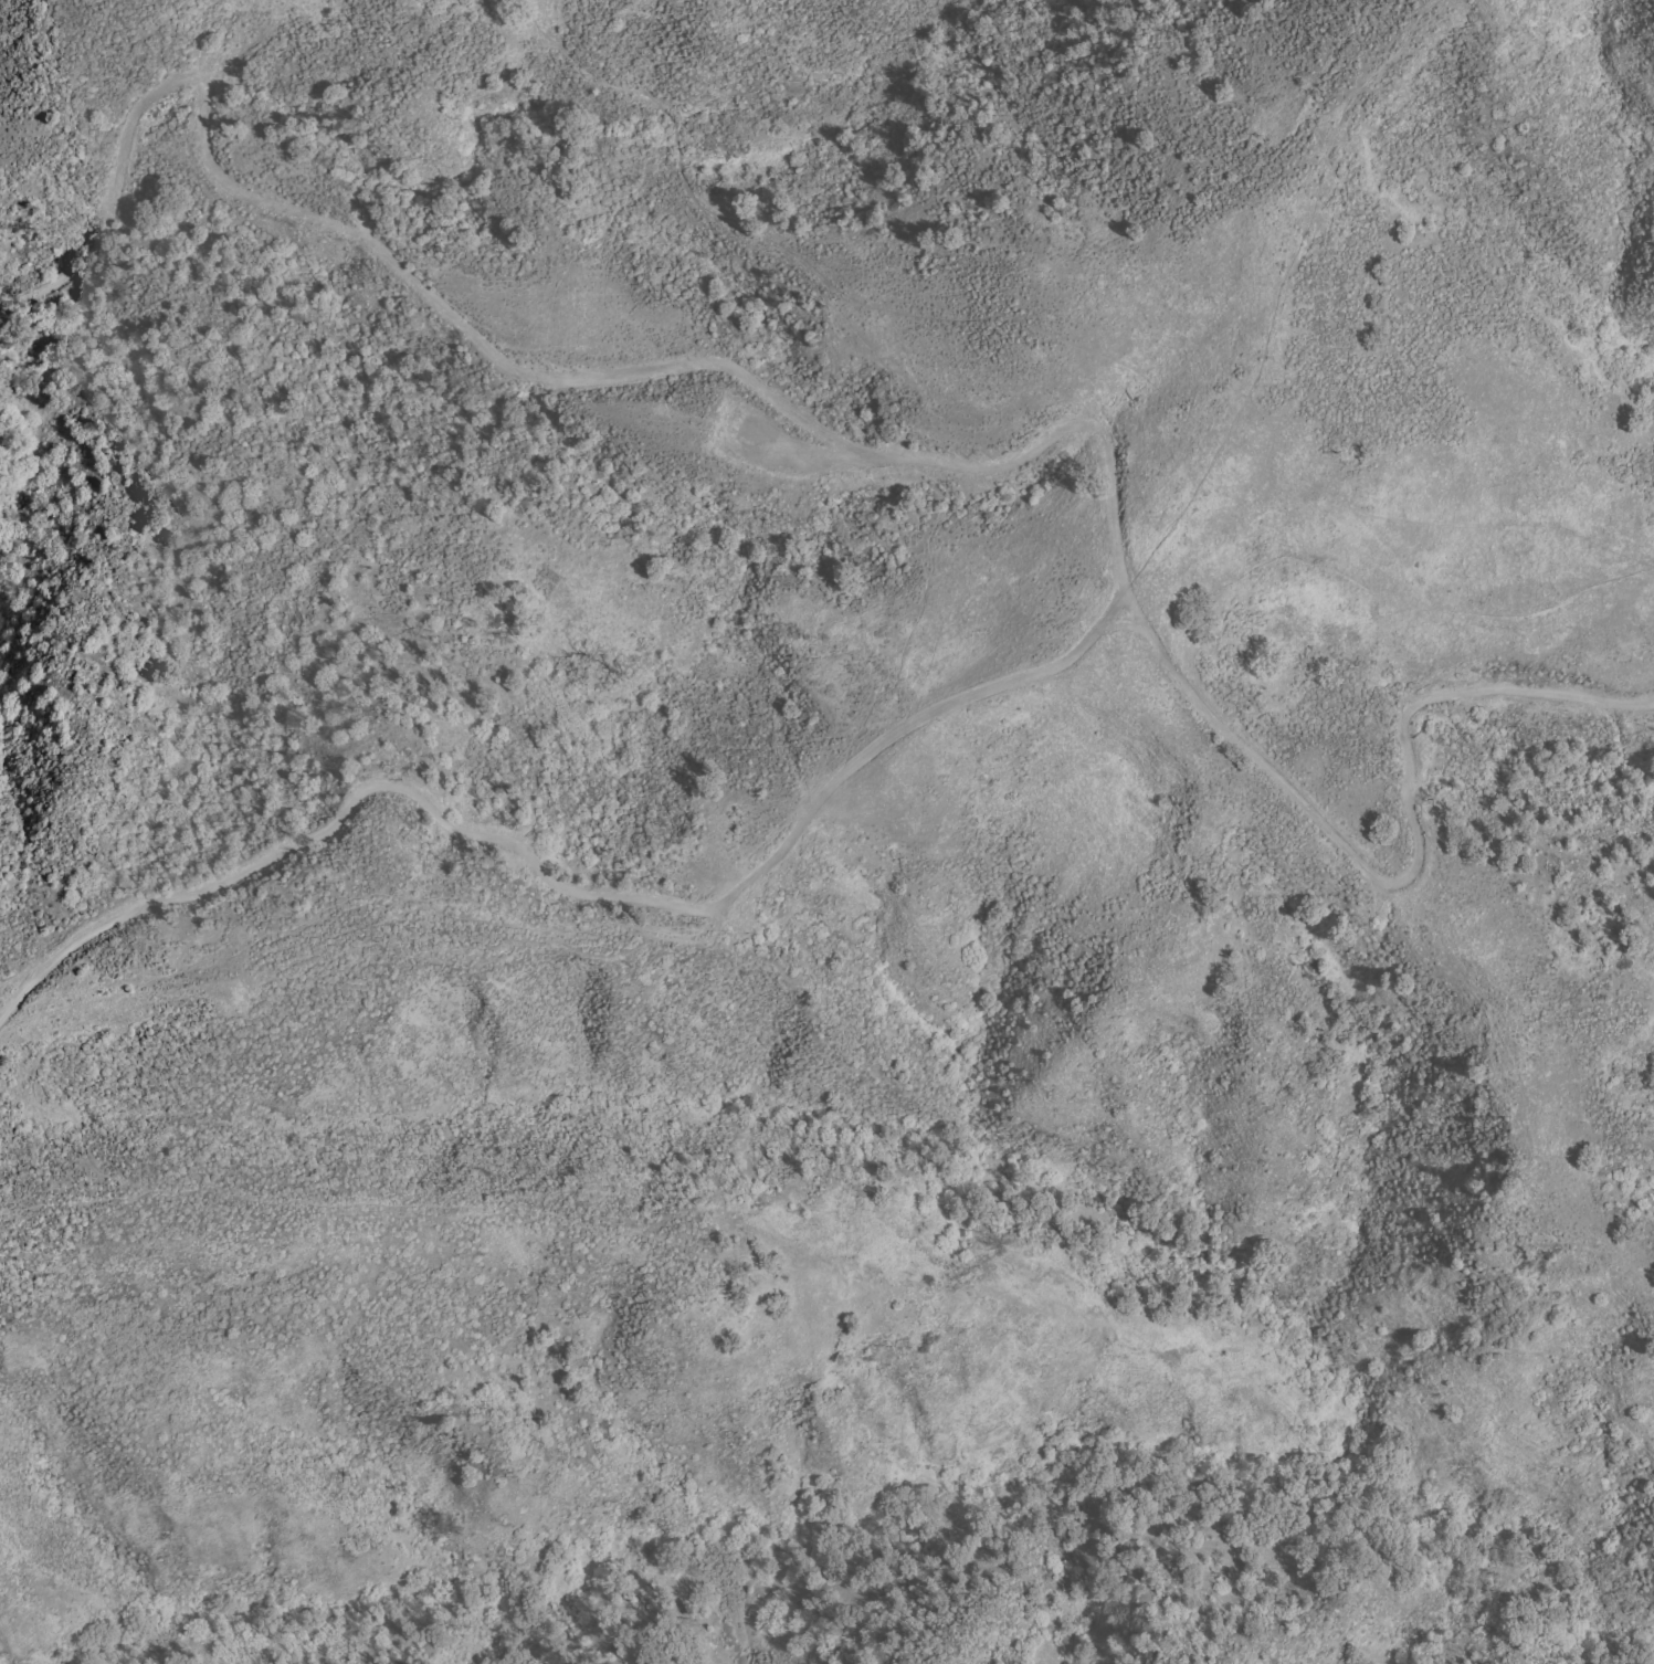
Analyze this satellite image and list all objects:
road: (200, 133)
road: (1128, 607)
road: (1118, 623)
road: (560, 888)

